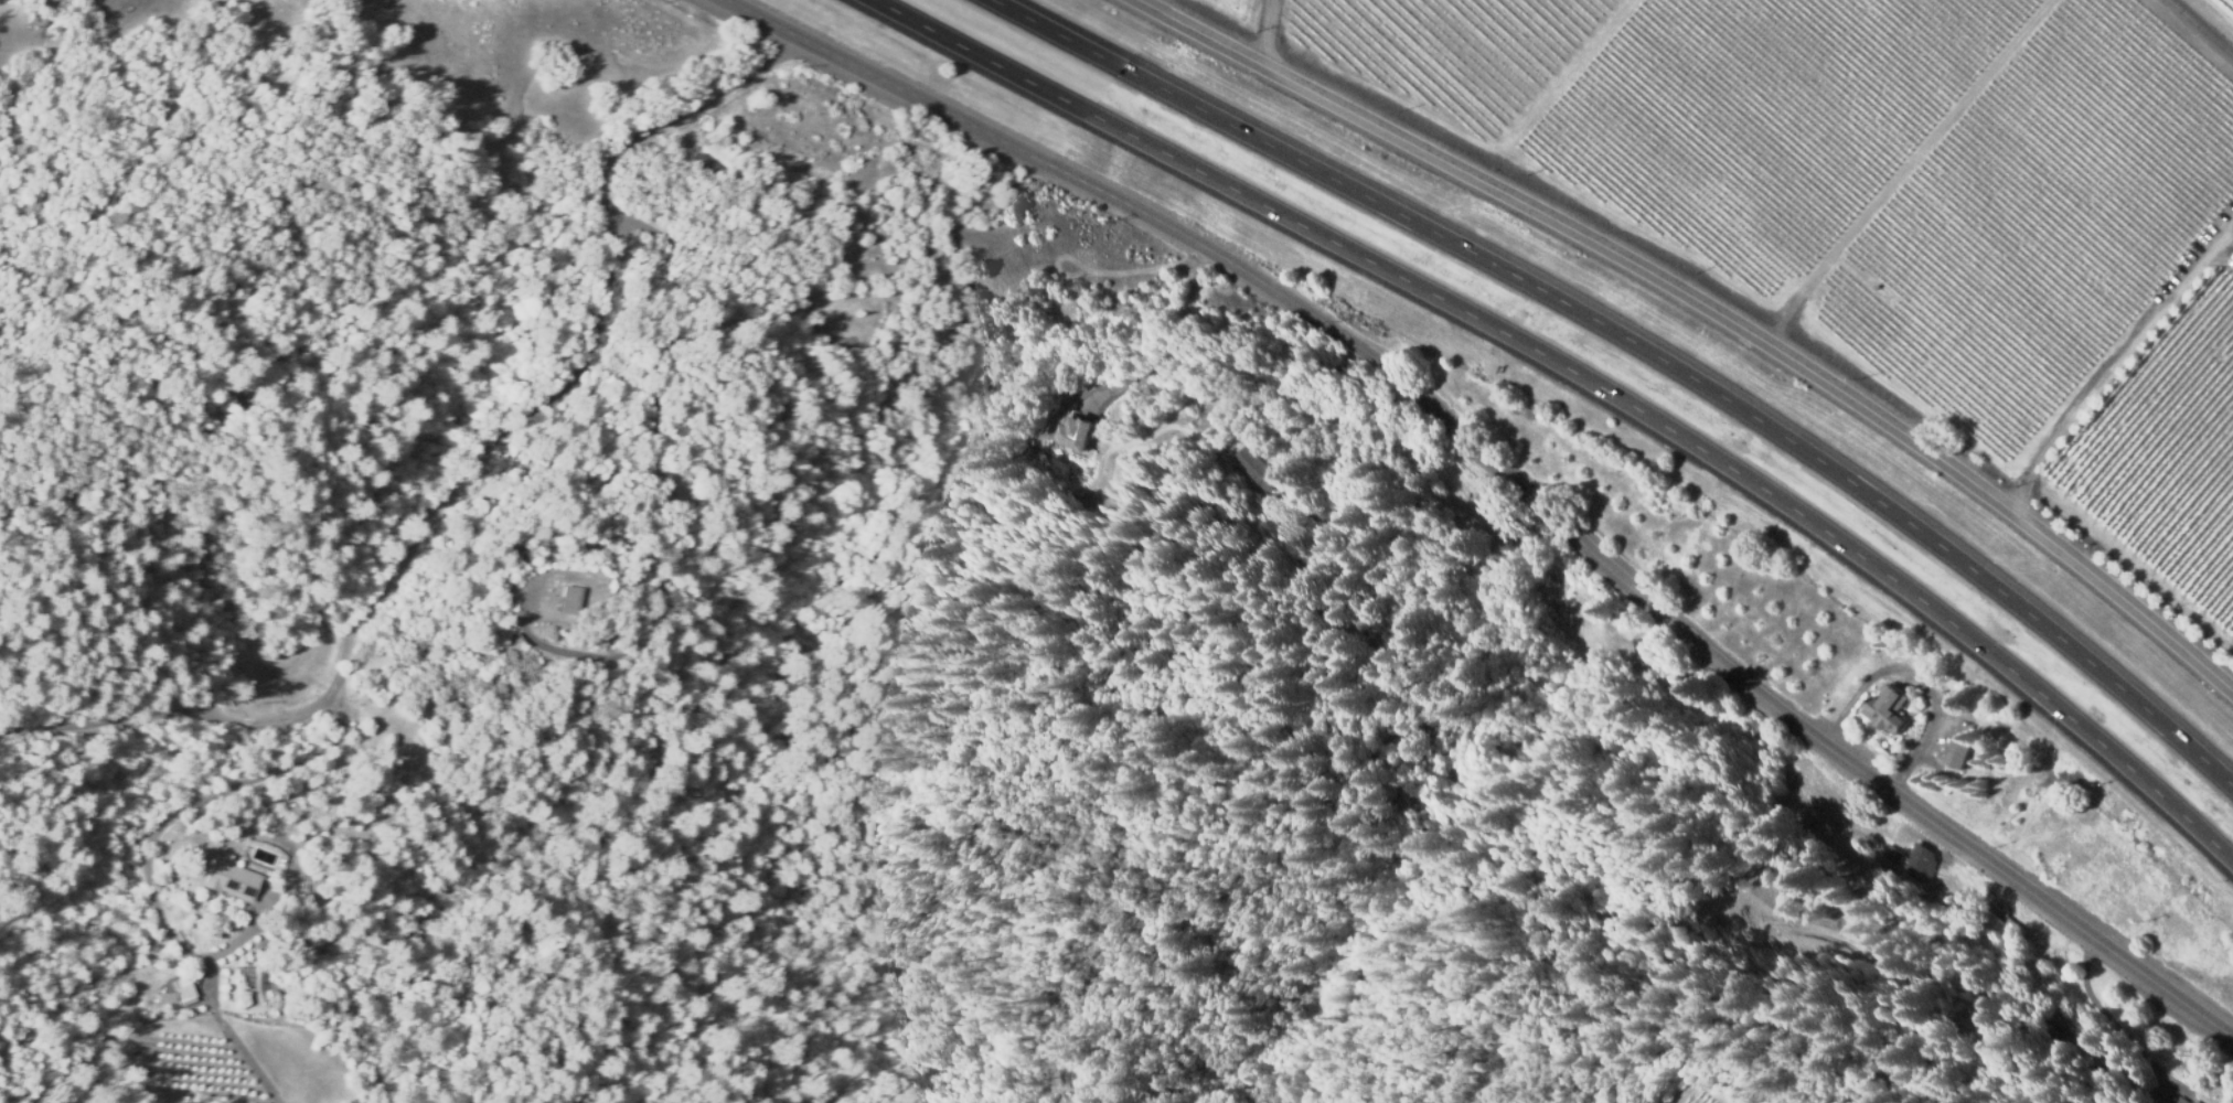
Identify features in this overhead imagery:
railway: (2202, 25)
building: (708, 174)
road: (1708, 308)
building: (845, 329)
road: (1167, 344)
road: (1641, 350)
road: (2113, 360)
road: (1589, 378)
road: (1301, 389)
building: (1072, 430)
building: (1407, 469)
building: (1249, 470)
road: (1505, 475)
building: (1297, 545)
building: (556, 598)
building: (1567, 631)
building: (1887, 707)
building: (1959, 753)
building: (1889, 832)
building: (1882, 856)
building: (1910, 867)
building: (226, 881)
building: (1999, 925)
building: (182, 992)
building: (165, 997)
building: (2175, 1101)
building: (2190, 1102)

